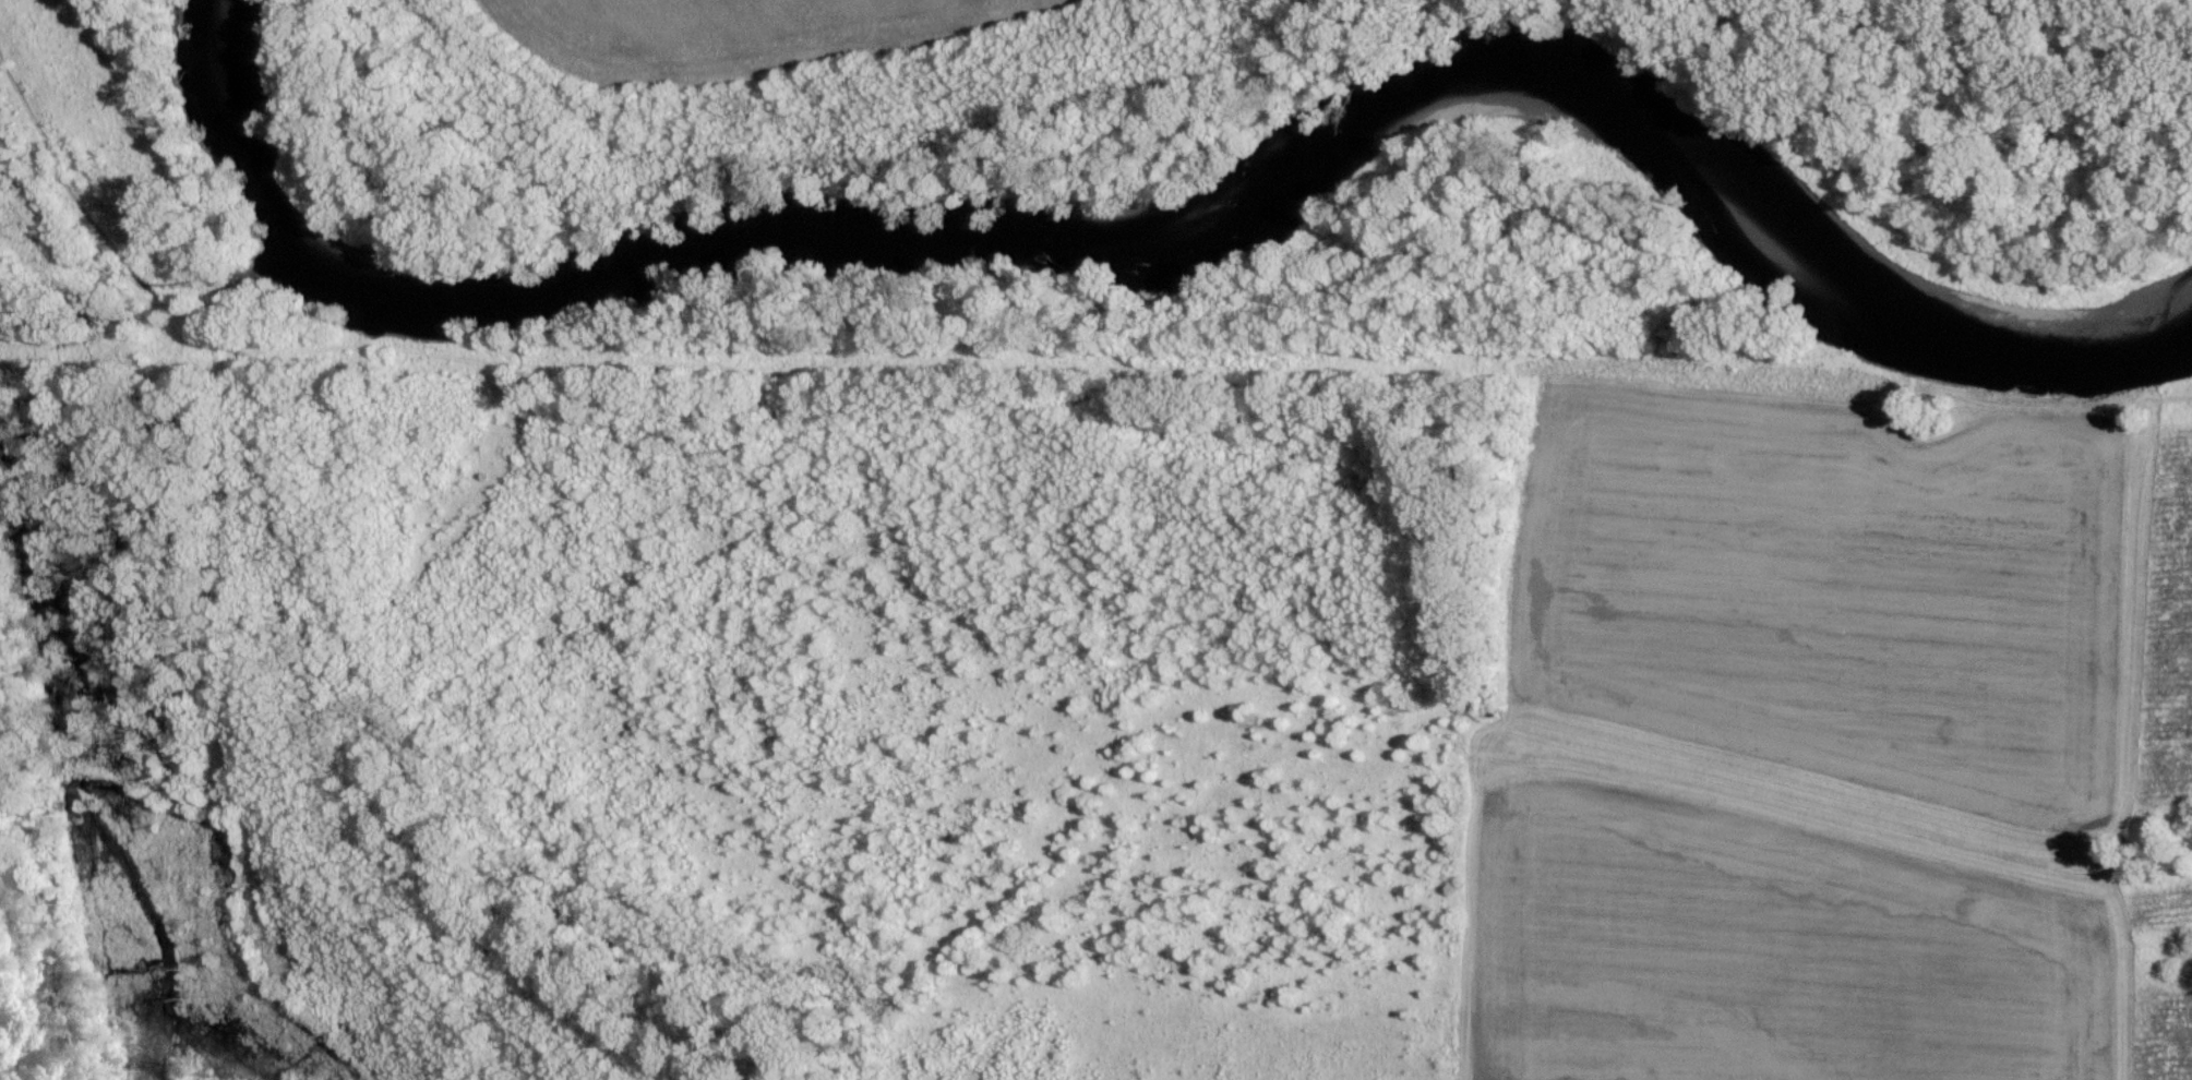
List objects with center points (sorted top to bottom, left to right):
river: (1176, 241)

